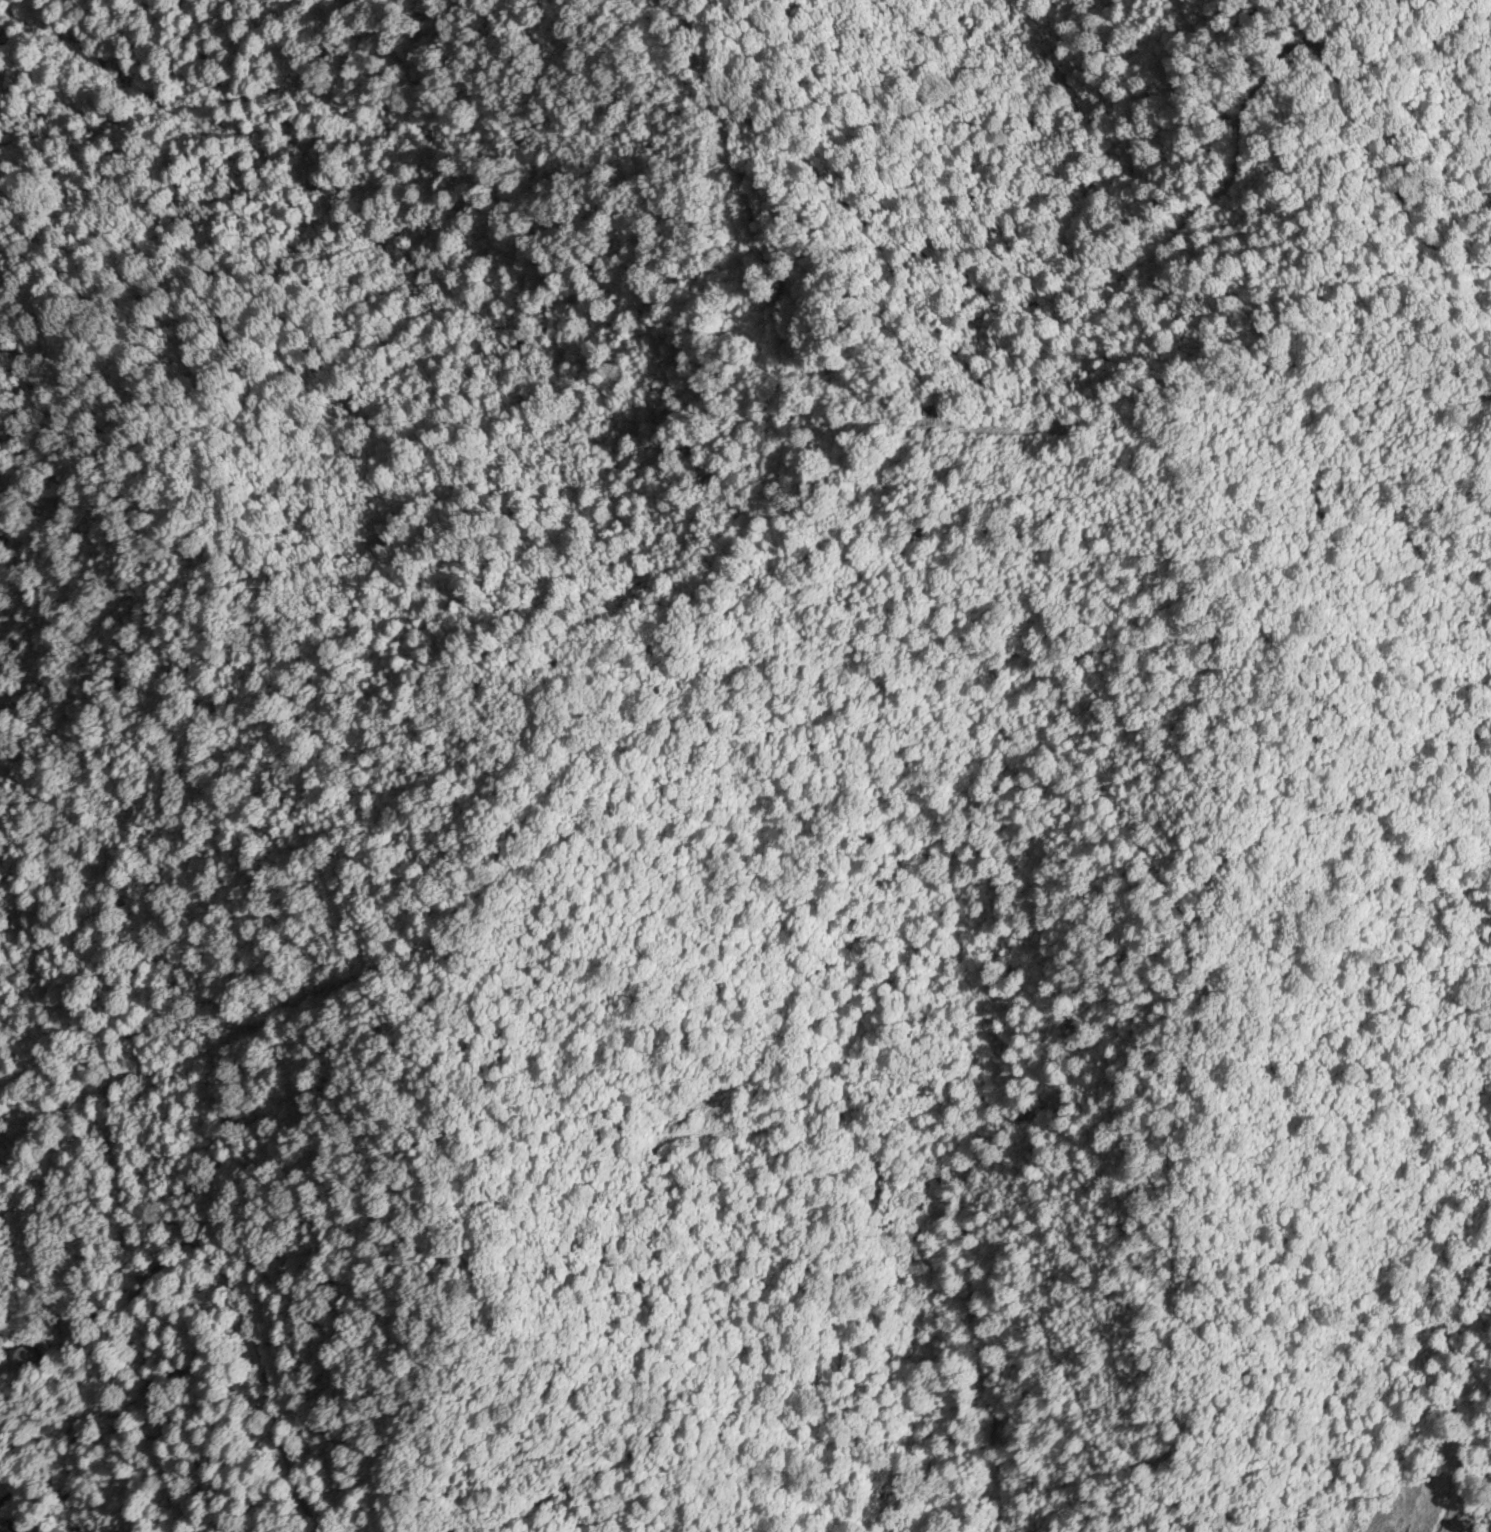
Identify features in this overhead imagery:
building: (29, 1358)
building: (5, 1530)

